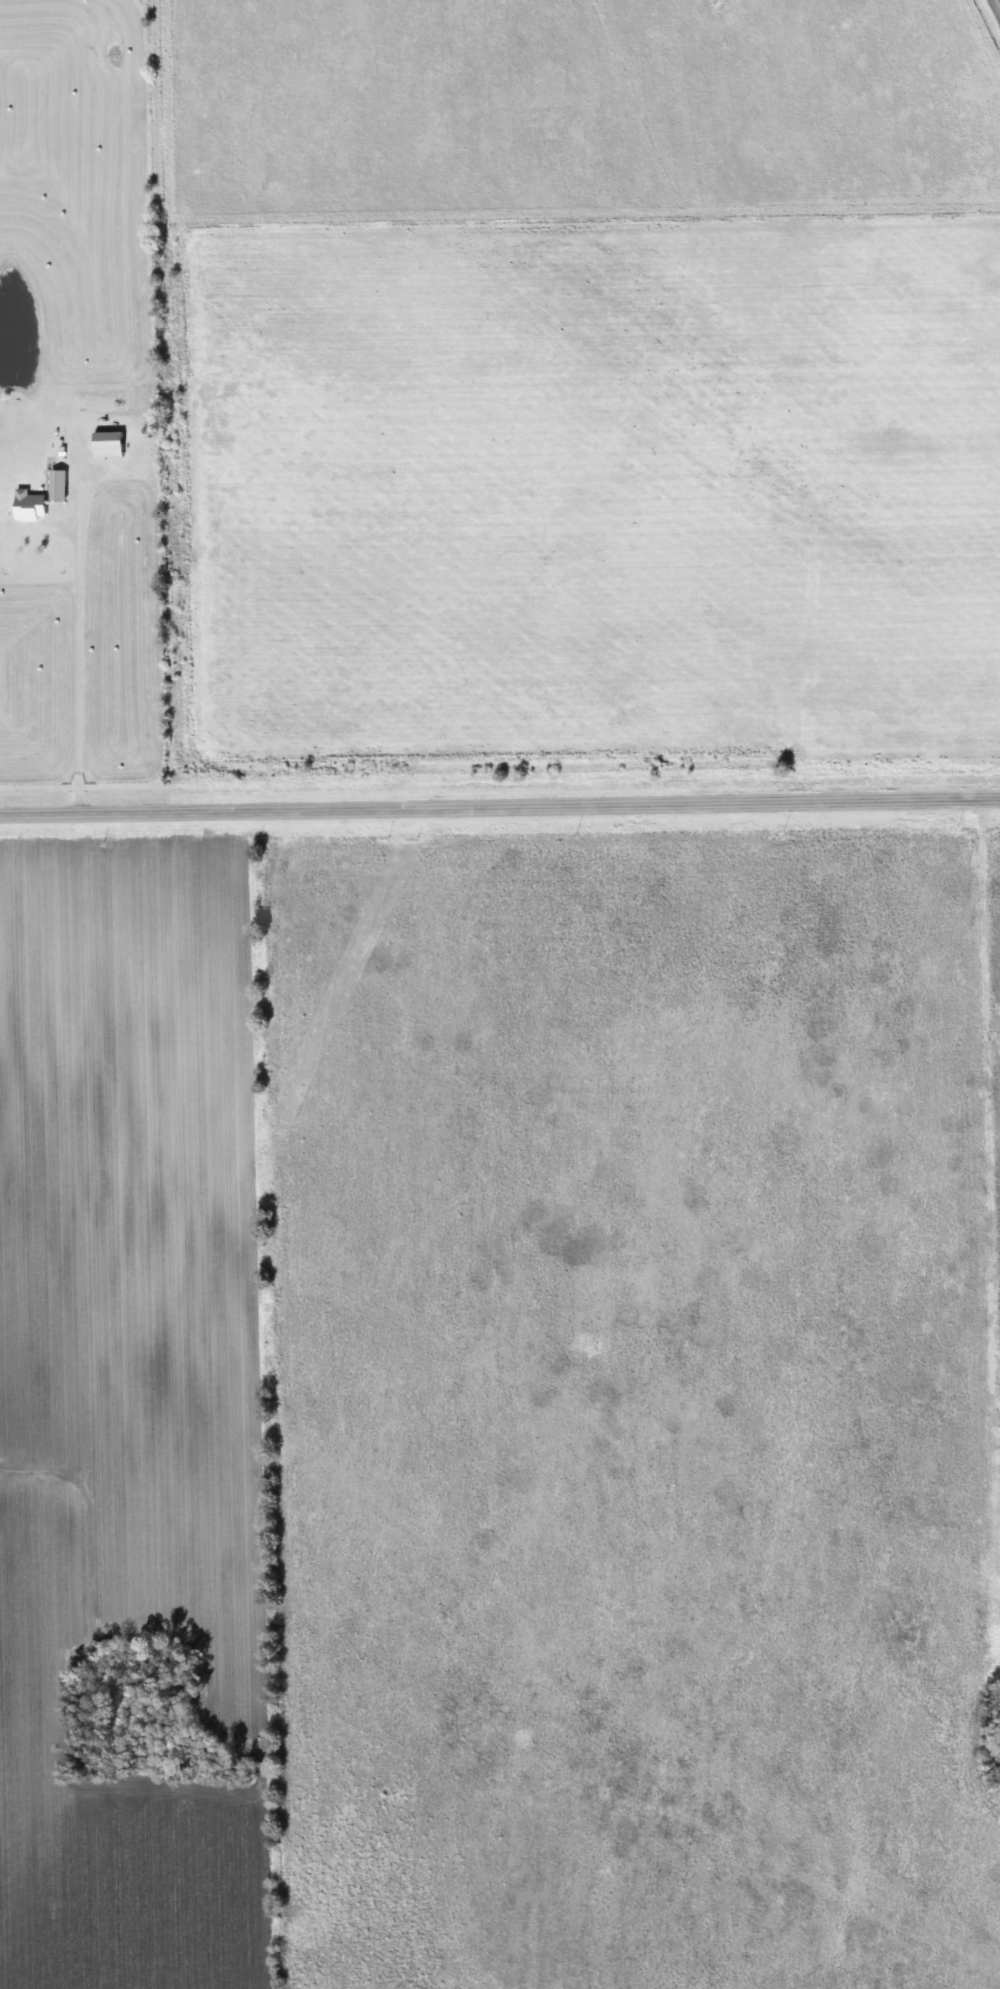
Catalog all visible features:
building: (101, 444)
building: (52, 484)
building: (22, 505)
road: (73, 655)
road: (499, 806)

